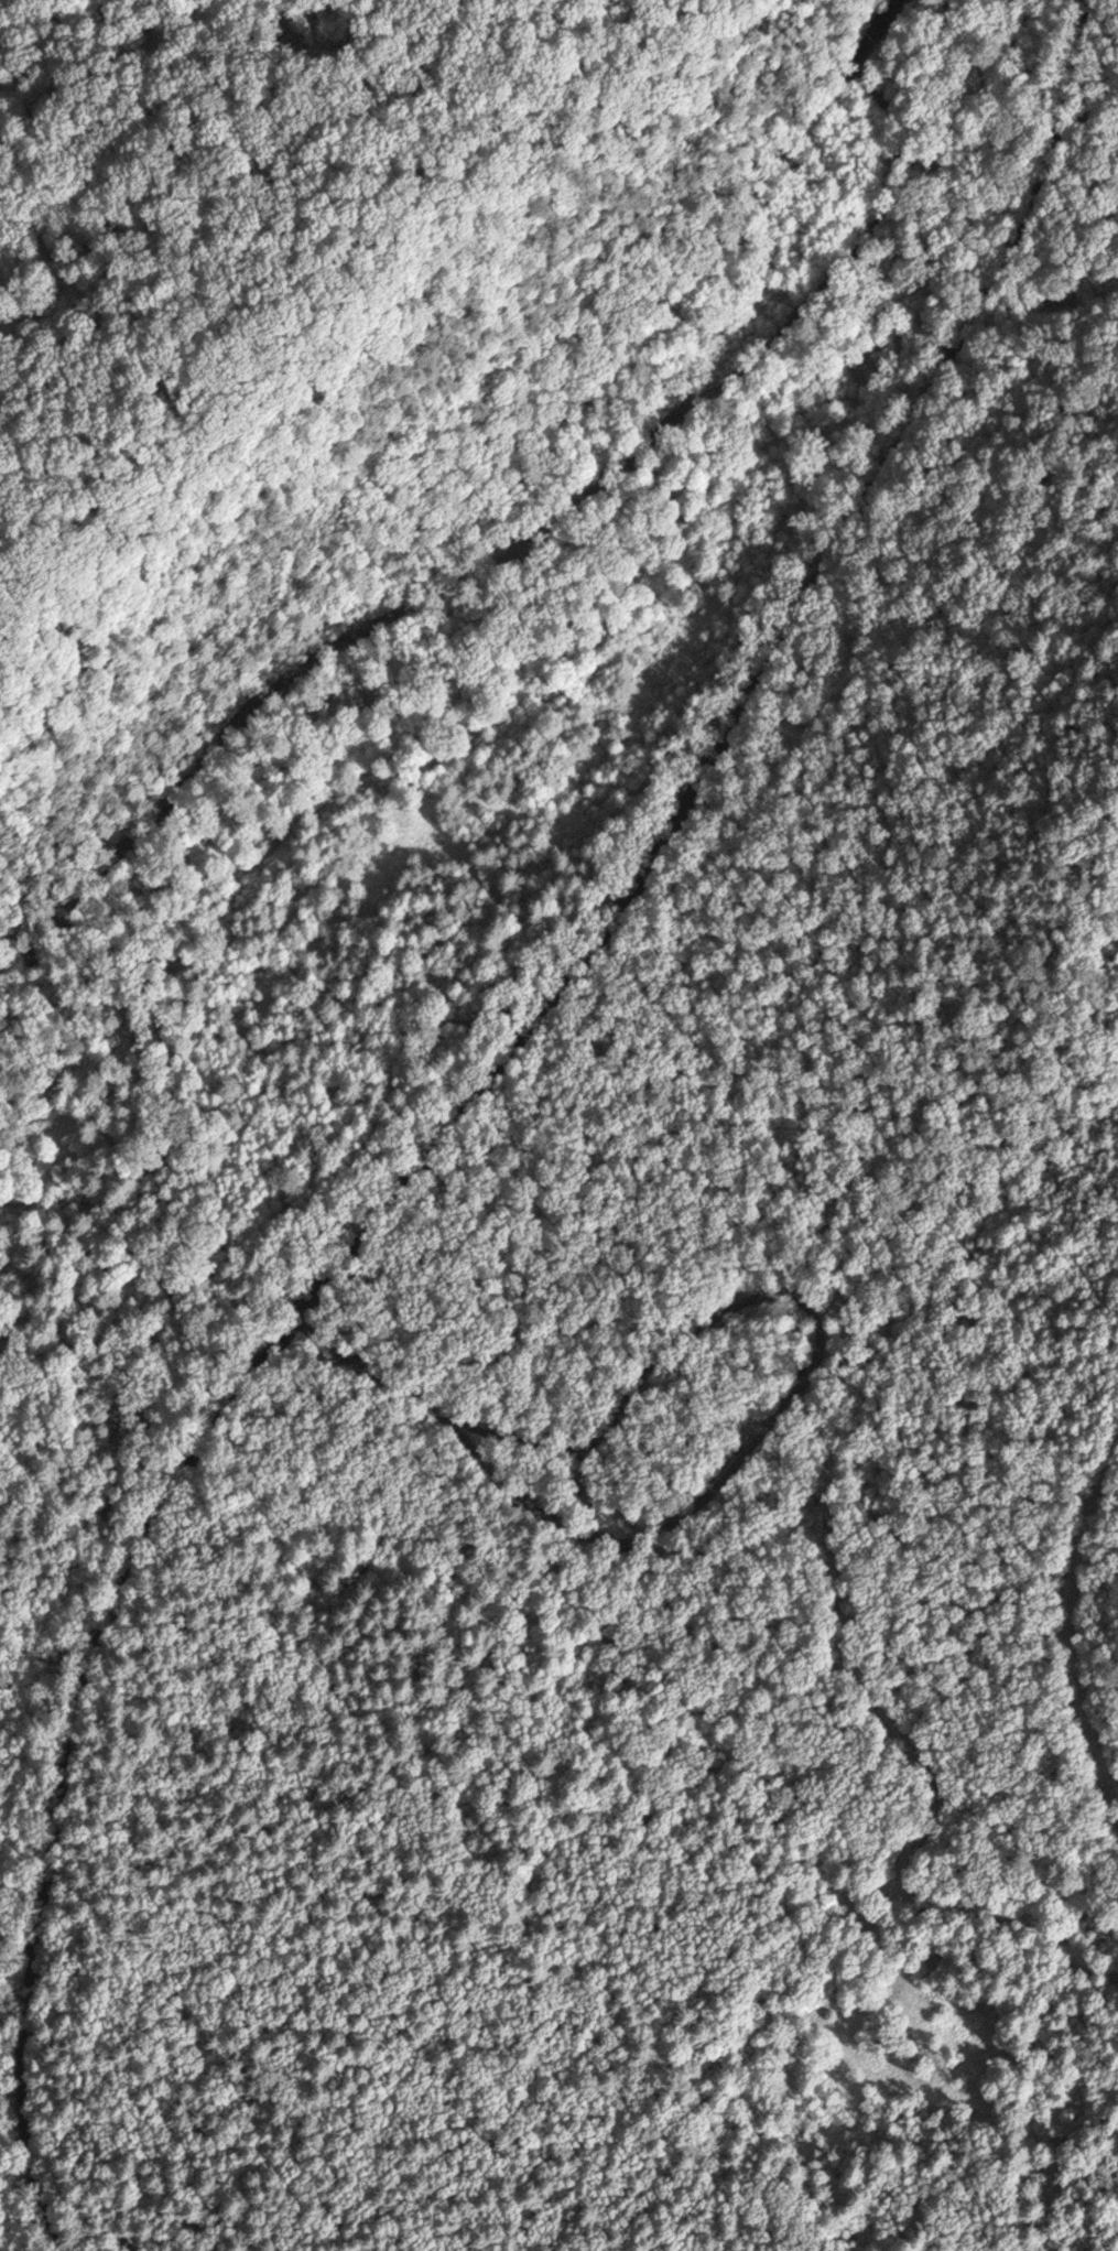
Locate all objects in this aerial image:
road: (367, 1000)
road: (98, 1070)
road: (470, 1104)
road: (207, 1165)
road: (632, 1394)
road: (457, 1424)
parking lot: (665, 1436)
road: (755, 1438)
road: (1060, 1627)
road: (903, 1738)
road: (1111, 1980)
road: (1116, 1987)

